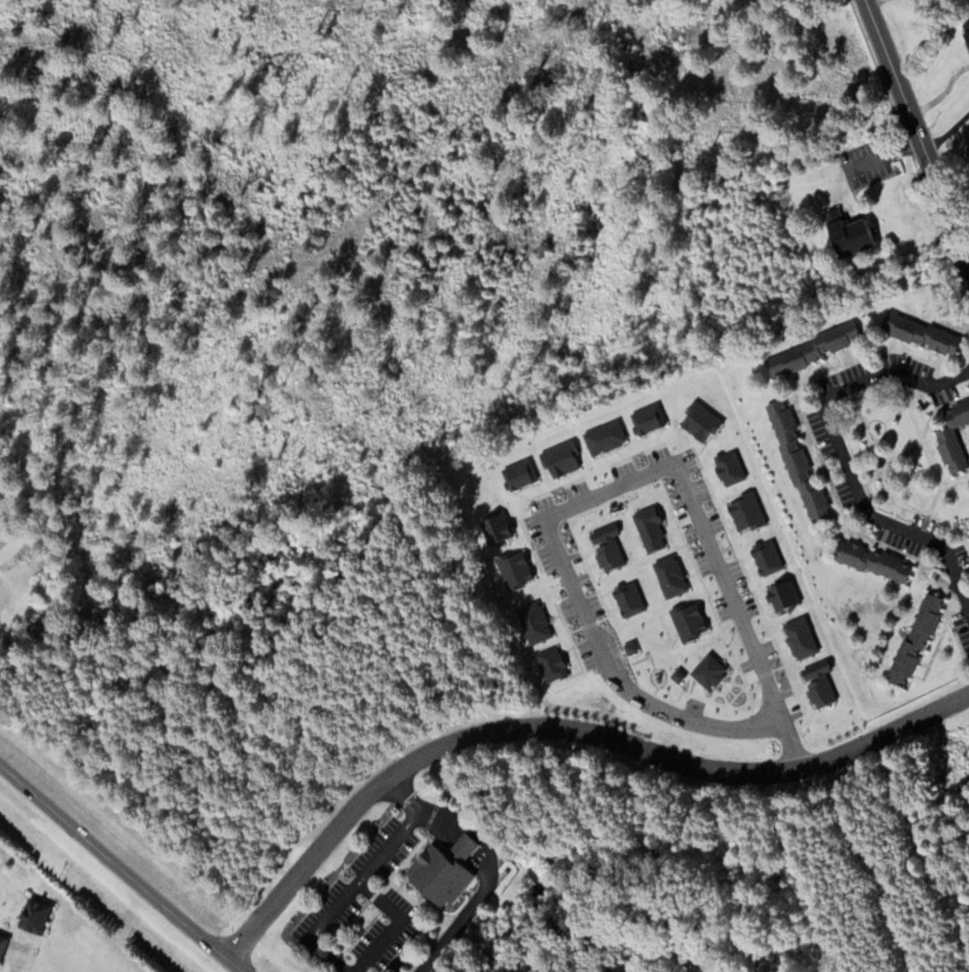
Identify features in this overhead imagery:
building: (965, 29)
road: (915, 134)
building: (846, 233)
building: (920, 334)
building: (812, 349)
building: (952, 435)
road: (842, 448)
building: (797, 461)
road: (611, 484)
building: (871, 560)
road: (741, 611)
building: (915, 639)
road: (618, 675)
road: (563, 725)
road: (403, 793)
road: (424, 810)
road: (123, 867)
building: (440, 869)
road: (393, 923)
building: (1, 941)

